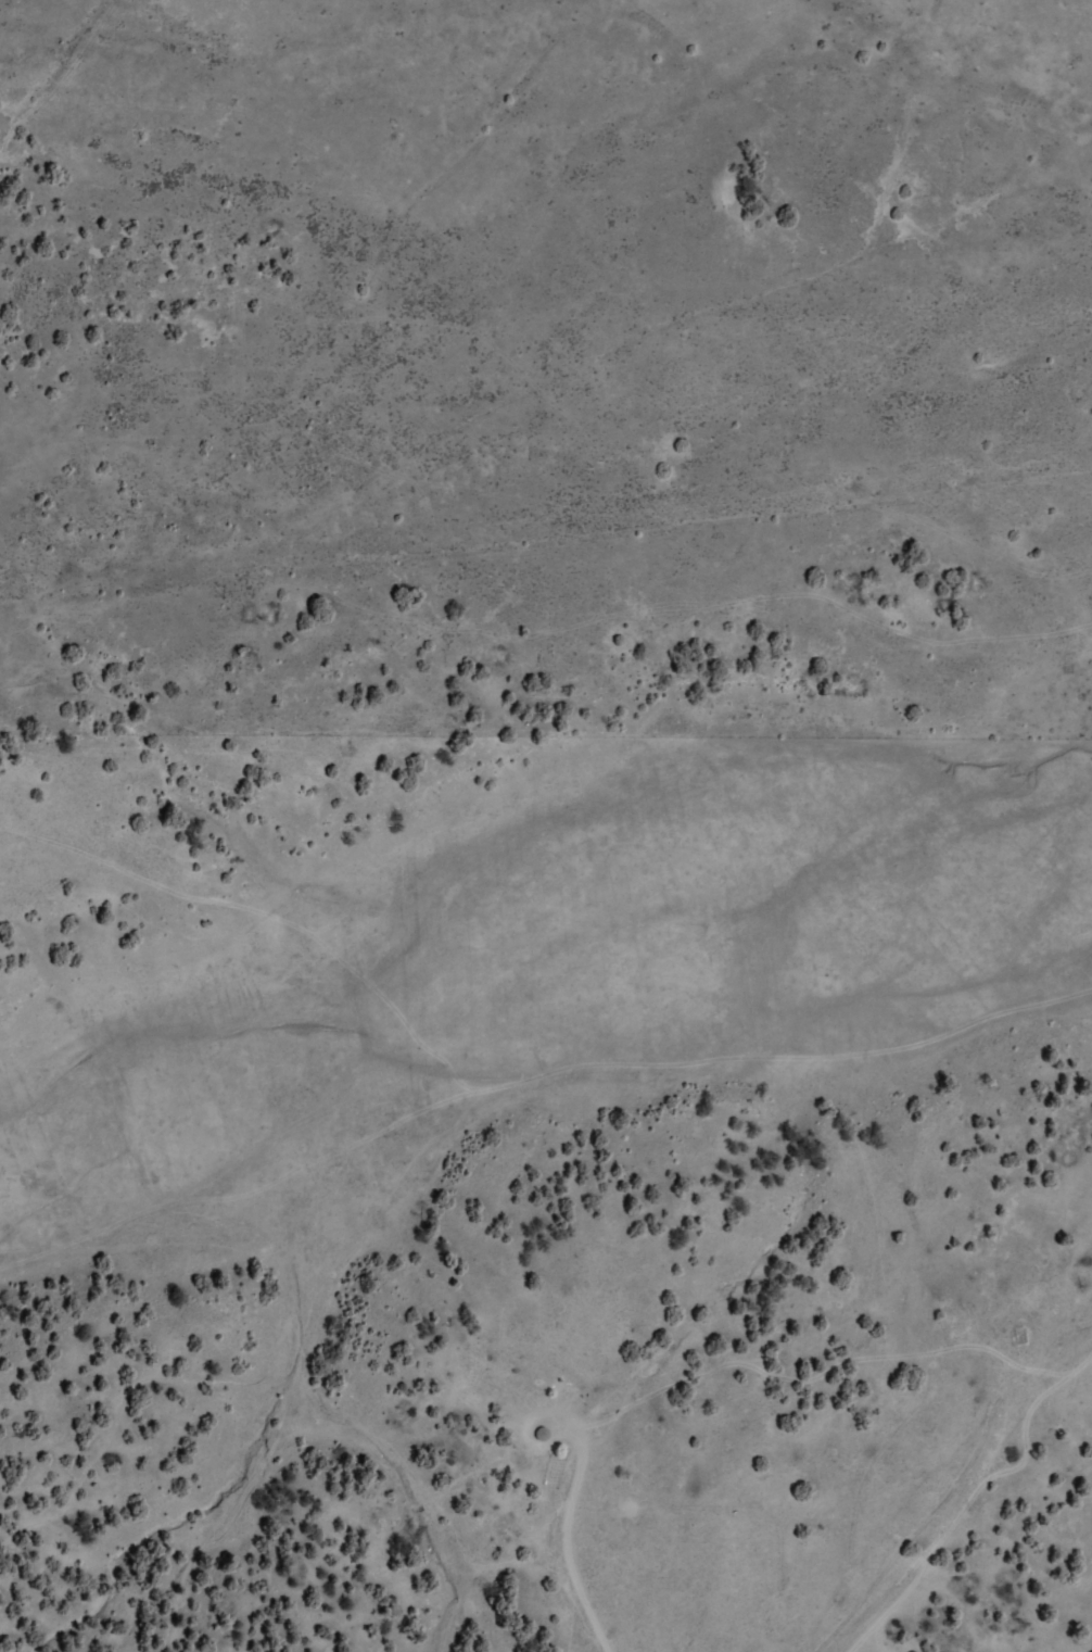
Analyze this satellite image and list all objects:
road: (566, 1558)

